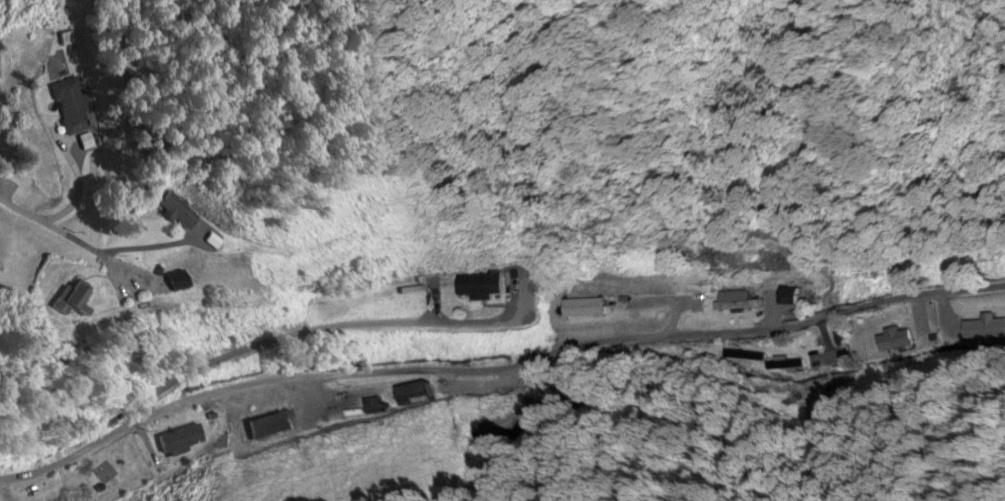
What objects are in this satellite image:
building: (72, 107)
building: (174, 212)
road: (70, 238)
building: (173, 281)
building: (477, 287)
building: (62, 297)
road: (503, 355)
building: (414, 395)
building: (281, 428)
building: (180, 439)

